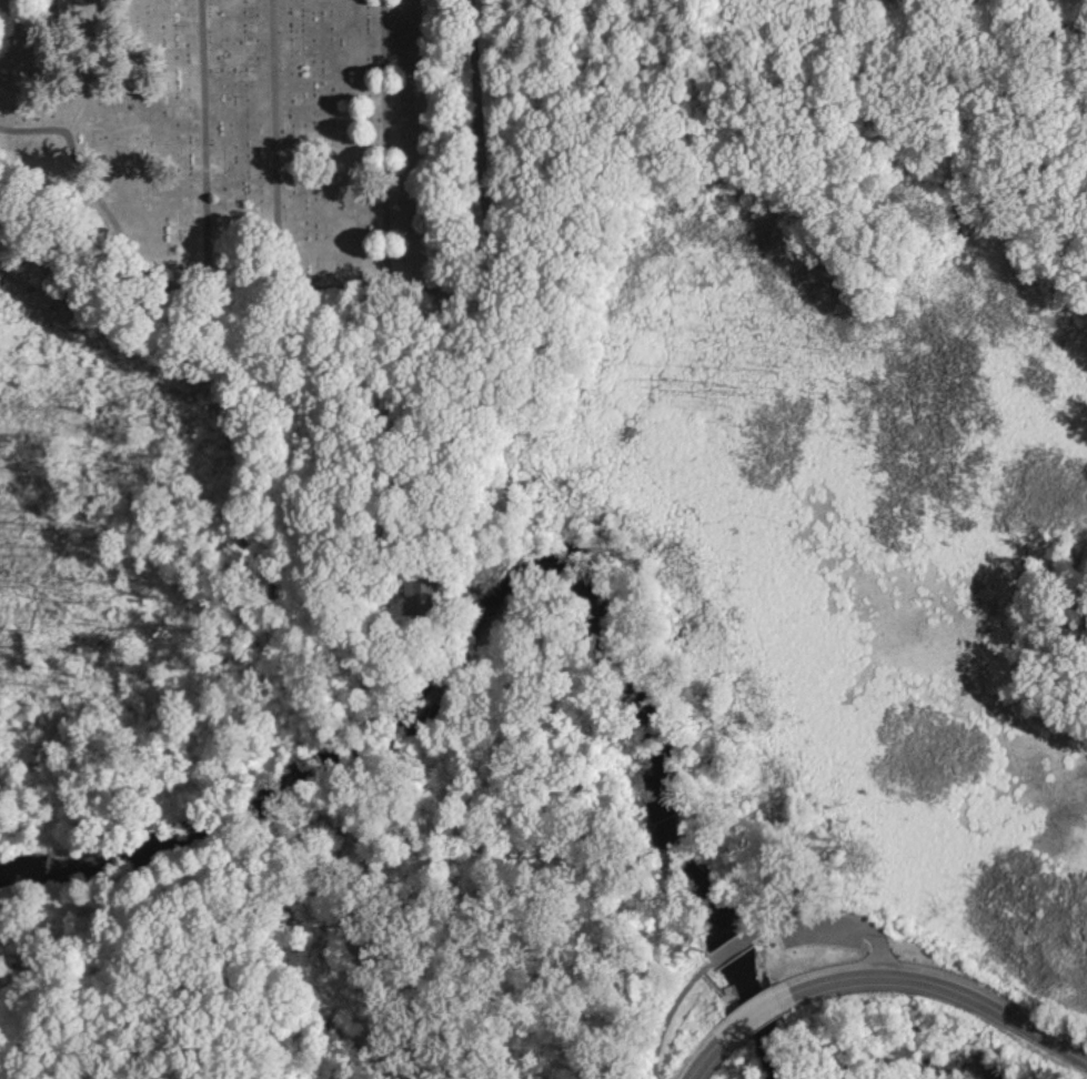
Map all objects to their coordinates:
park: (241, 147)
road: (489, 288)
river: (523, 582)
road: (854, 922)
road: (733, 946)
road: (947, 987)
road: (753, 1012)
road: (671, 1014)
road: (704, 1058)

